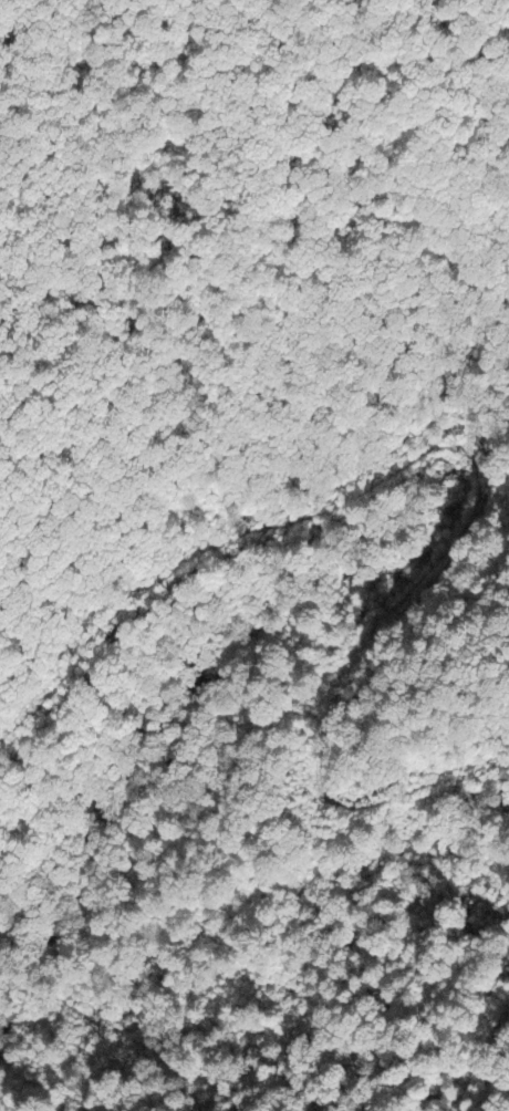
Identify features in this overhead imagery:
road: (102, 269)
road: (233, 627)

